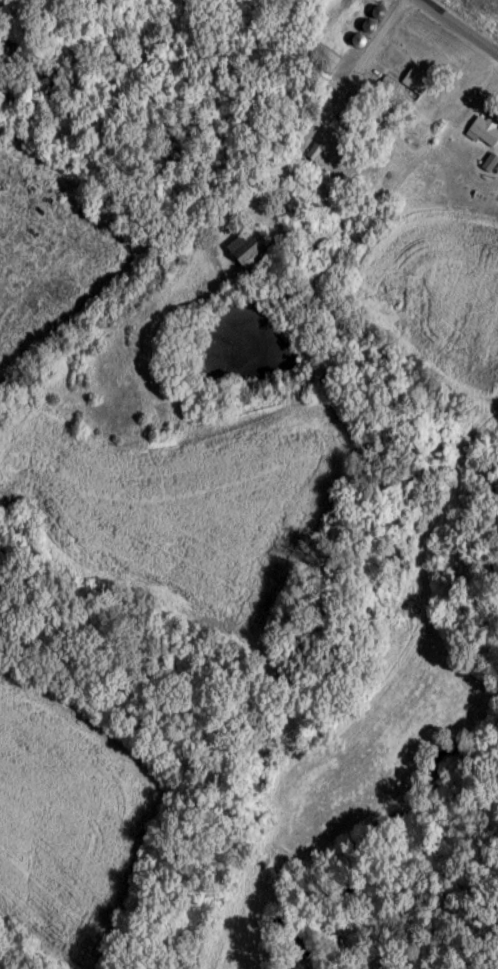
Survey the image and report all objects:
road: (86, 37)
road: (447, 42)
building: (322, 57)
building: (418, 82)
building: (5, 104)
building: (484, 134)
building: (255, 250)

